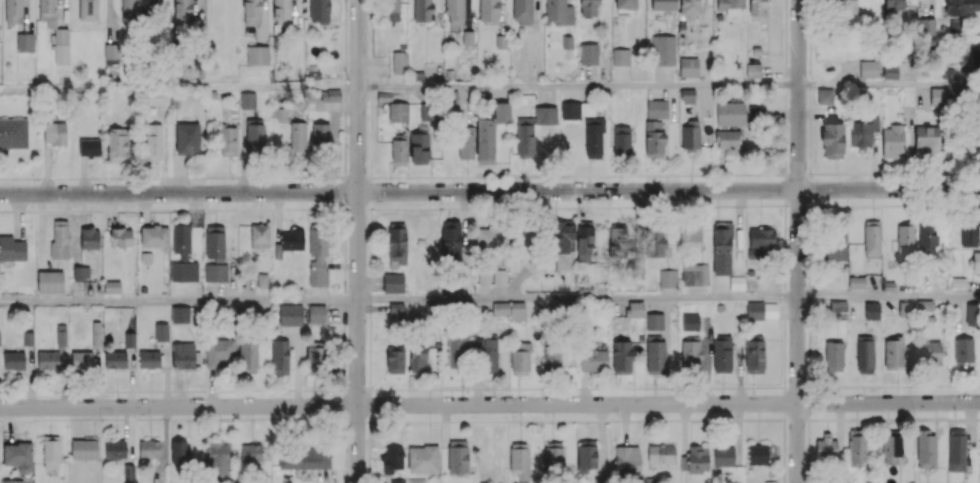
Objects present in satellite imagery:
building: (893, 4)
building: (663, 5)
building: (841, 5)
building: (624, 6)
building: (960, 6)
building: (146, 7)
building: (588, 7)
building: (731, 7)
building: (756, 7)
building: (689, 8)
building: (182, 9)
building: (88, 10)
building: (392, 10)
building: (422, 10)
building: (13, 11)
building: (281, 11)
building: (319, 11)
building: (454, 11)
building: (488, 11)
building: (522, 11)
building: (47, 12)
building: (252, 12)
building: (558, 12)
building: (127, 13)
road: (371, 16)
road: (810, 19)
building: (955, 25)
building: (927, 26)
building: (500, 41)
building: (25, 42)
building: (60, 46)
building: (663, 49)
building: (112, 53)
building: (588, 53)
building: (257, 55)
building: (620, 56)
building: (975, 58)
building: (399, 62)
road: (345, 63)
building: (688, 66)
building: (870, 69)
building: (753, 70)
building: (890, 71)
building: (946, 72)
road: (786, 73)
road: (889, 85)
road: (578, 87)
road: (178, 88)
building: (330, 95)
building: (825, 95)
building: (688, 96)
building: (938, 96)
building: (451, 98)
building: (247, 100)
road: (370, 104)
road: (809, 104)
building: (657, 108)
building: (570, 110)
building: (398, 111)
building: (502, 112)
building: (730, 113)
building: (545, 115)
building: (979, 116)
building: (864, 131)
building: (14, 133)
building: (55, 133)
building: (320, 133)
road: (345, 133)
building: (690, 133)
building: (253, 136)
building: (297, 137)
building: (525, 137)
building: (593, 137)
building: (187, 138)
building: (653, 138)
building: (727, 139)
building: (926, 139)
building: (484, 140)
building: (622, 140)
building: (832, 140)
building: (153, 141)
building: (228, 141)
building: (977, 141)
building: (465, 142)
building: (892, 142)
building: (117, 144)
building: (89, 147)
building: (419, 148)
building: (398, 149)
road: (344, 157)
road: (785, 159)
road: (928, 172)
road: (845, 173)
road: (669, 174)
road: (714, 174)
road: (747, 174)
road: (766, 174)
road: (777, 174)
road: (494, 175)
road: (525, 175)
road: (551, 175)
road: (590, 175)
road: (629, 175)
road: (422, 176)
road: (356, 177)
road: (344, 188)
road: (370, 189)
road: (489, 191)
road: (941, 204)
road: (672, 205)
road: (747, 205)
road: (857, 205)
road: (592, 206)
road: (419, 207)
road: (509, 207)
road: (370, 209)
road: (345, 222)
road: (371, 226)
road: (784, 226)
building: (974, 231)
building: (690, 234)
building: (154, 235)
building: (260, 236)
building: (120, 237)
building: (761, 237)
building: (89, 238)
building: (450, 238)
building: (491, 238)
building: (59, 239)
building: (872, 239)
building: (927, 239)
road: (370, 240)
building: (617, 240)
building: (905, 240)
building: (181, 241)
building: (289, 241)
road: (357, 241)
building: (654, 241)
road: (798, 241)
building: (585, 242)
building: (835, 242)
building: (214, 243)
building: (562, 243)
building: (397, 244)
road: (808, 244)
building: (722, 248)
building: (12, 249)
building: (318, 256)
building: (976, 261)
road: (784, 263)
building: (637, 269)
building: (184, 271)
building: (81, 272)
building: (215, 272)
building: (695, 274)
building: (483, 277)
building: (499, 277)
building: (667, 278)
building: (50, 281)
building: (393, 282)
building: (856, 282)
building: (111, 287)
road: (344, 290)
road: (808, 293)
road: (889, 297)
road: (577, 299)
road: (178, 302)
building: (838, 305)
building: (905, 308)
building: (246, 309)
building: (510, 309)
building: (636, 309)
building: (761, 310)
building: (871, 310)
building: (396, 311)
building: (180, 314)
building: (316, 314)
building: (972, 314)
building: (290, 315)
road: (809, 316)
road: (370, 317)
building: (654, 321)
building: (690, 322)
building: (161, 332)
building: (96, 333)
road: (784, 333)
building: (60, 334)
building: (129, 339)
road: (808, 342)
road: (344, 347)
building: (963, 350)
building: (458, 351)
building: (219, 352)
building: (893, 353)
building: (931, 353)
building: (250, 354)
building: (488, 354)
building: (691, 354)
building: (754, 354)
building: (184, 355)
building: (722, 355)
building: (833, 356)
building: (865, 356)
building: (280, 357)
building: (621, 357)
building: (656, 357)
building: (417, 358)
building: (520, 358)
building: (115, 359)
building: (149, 359)
building: (315, 359)
building: (395, 359)
building: (551, 359)
building: (593, 359)
building: (13, 360)
building: (47, 360)
building: (81, 361)
road: (344, 364)
road: (808, 371)
road: (344, 381)
road: (873, 385)
road: (921, 385)
road: (942, 385)
road: (963, 385)
road: (976, 385)
road: (761, 386)
road: (822, 386)
road: (555, 387)
road: (582, 387)
road: (606, 387)
road: (640, 387)
road: (701, 387)
road: (390, 388)
road: (421, 388)
road: (488, 388)
road: (252, 389)
road: (297, 389)
road: (84, 390)
road: (162, 390)
road: (328, 390)
road: (357, 390)
road: (12, 391)
road: (30, 391)
road: (43, 391)
road: (58, 391)
road: (369, 402)
road: (345, 403)
road: (784, 403)
road: (489, 404)
road: (327, 416)
road: (141, 417)
road: (288, 417)
road: (301, 417)
road: (946, 417)
road: (905, 418)
road: (686, 419)
road: (719, 419)
road: (755, 419)
road: (854, 419)
road: (347, 420)
road: (494, 420)
road: (597, 420)
road: (628, 420)
road: (655, 420)
road: (386, 421)
road: (346, 433)
road: (808, 441)
road: (369, 444)
building: (925, 448)
building: (84, 449)
building: (115, 449)
building: (149, 449)
building: (856, 449)
building: (891, 449)
road: (783, 450)
building: (827, 450)
building: (956, 450)
building: (50, 452)
building: (179, 452)
building: (251, 452)
building: (661, 453)
building: (760, 453)
building: (18, 456)
building: (457, 456)
building: (553, 456)
building: (586, 456)
building: (724, 456)
building: (304, 457)
building: (217, 458)
building: (392, 459)
building: (423, 459)
building: (627, 460)
building: (695, 460)
road: (346, 461)
building: (519, 461)
building: (129, 471)
road: (808, 473)
road: (369, 477)
building: (416, 480)
building: (600, 480)
building: (11, 481)
building: (393, 481)
building: (649, 481)
road: (346, 482)
building: (771, 482)

